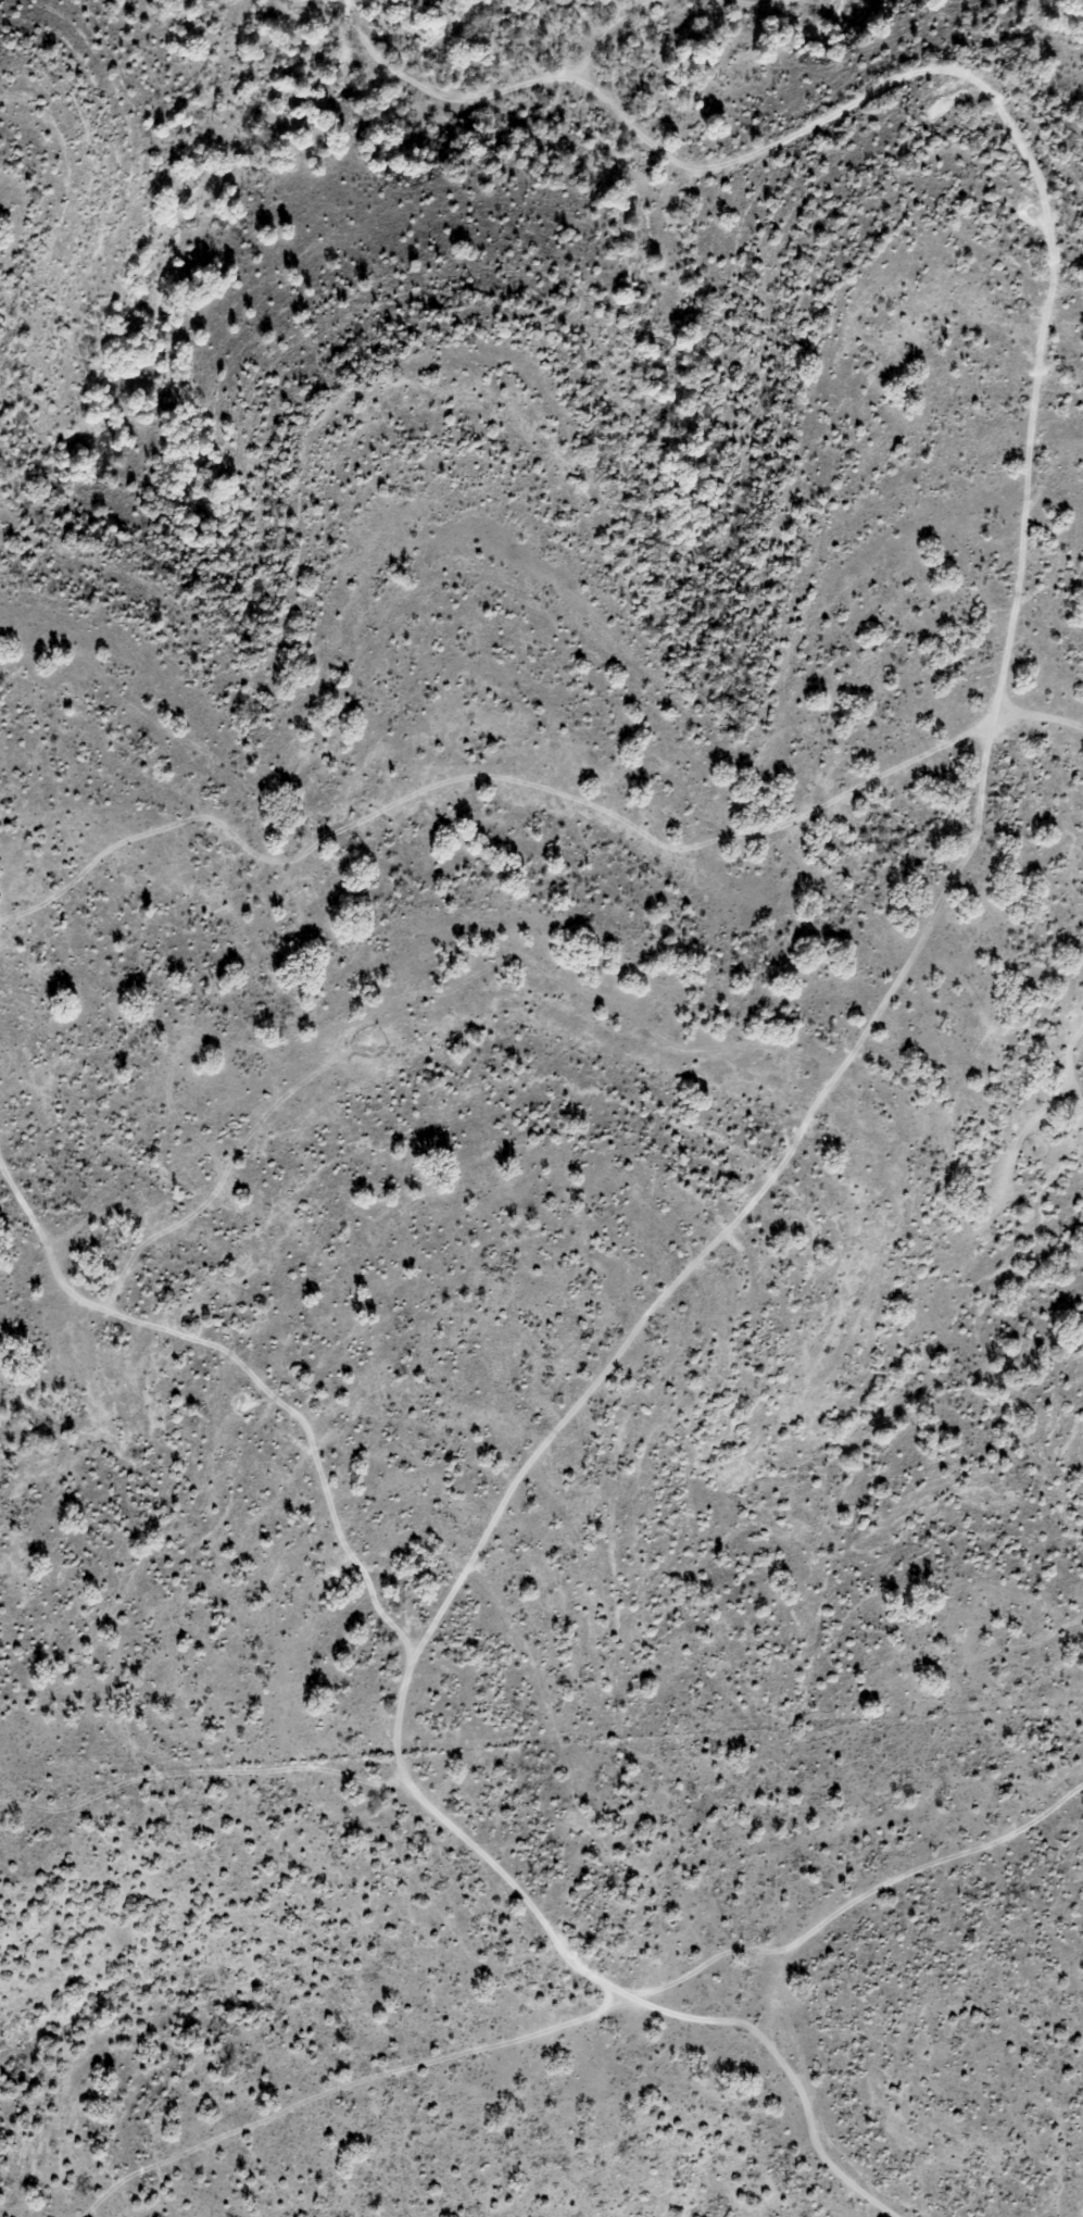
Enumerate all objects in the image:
road: (931, 942)

